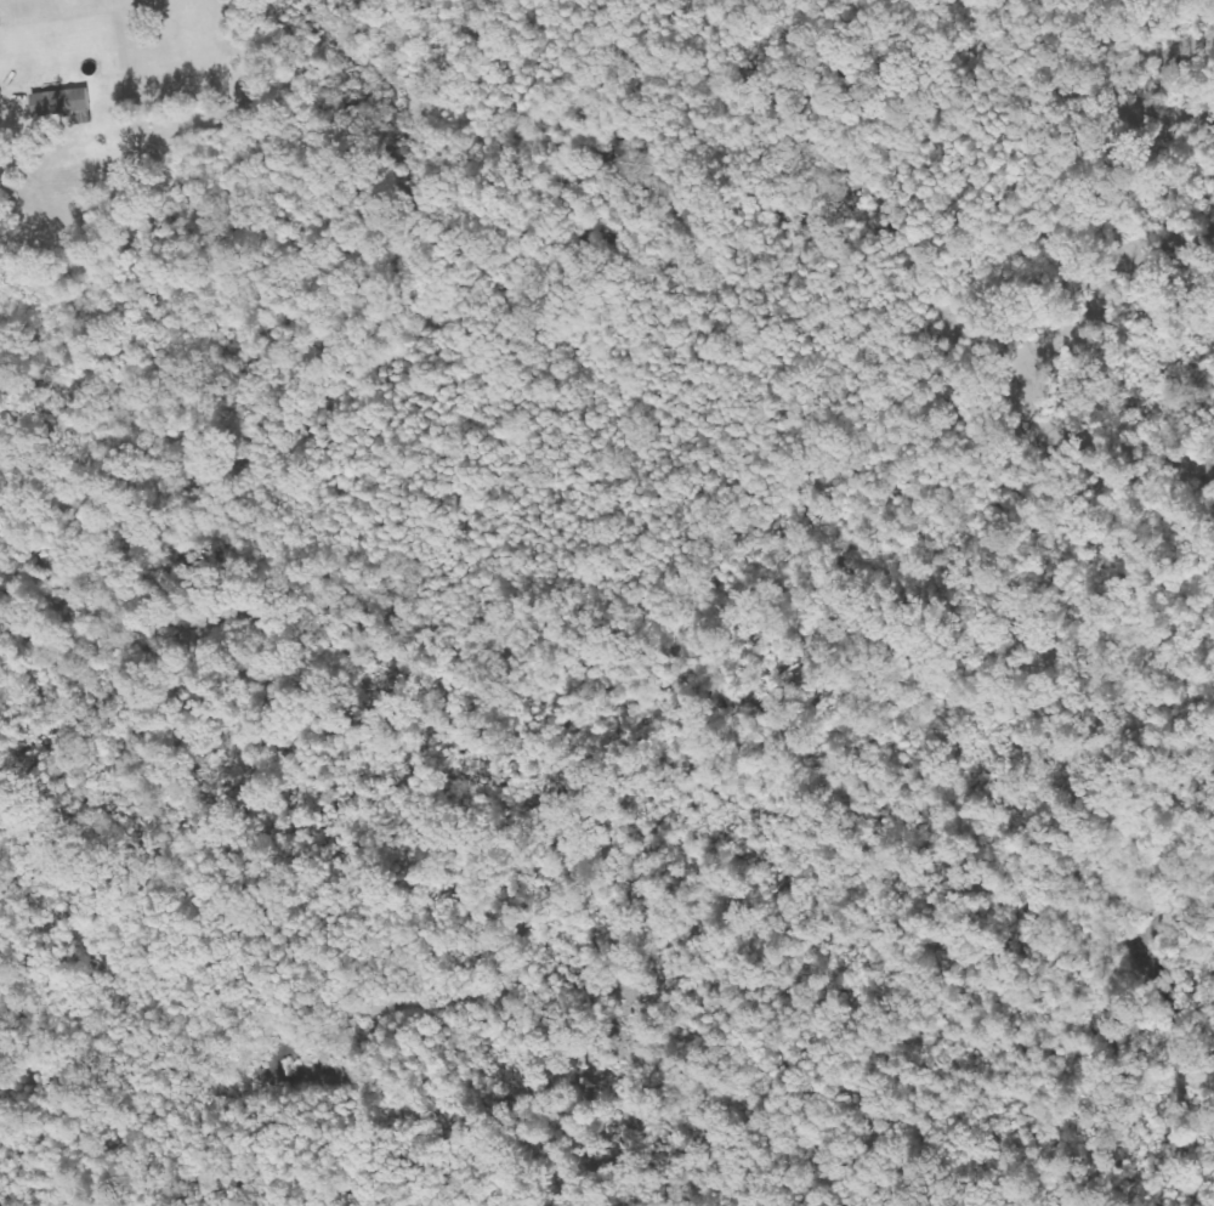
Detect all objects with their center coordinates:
building: (64, 103)

